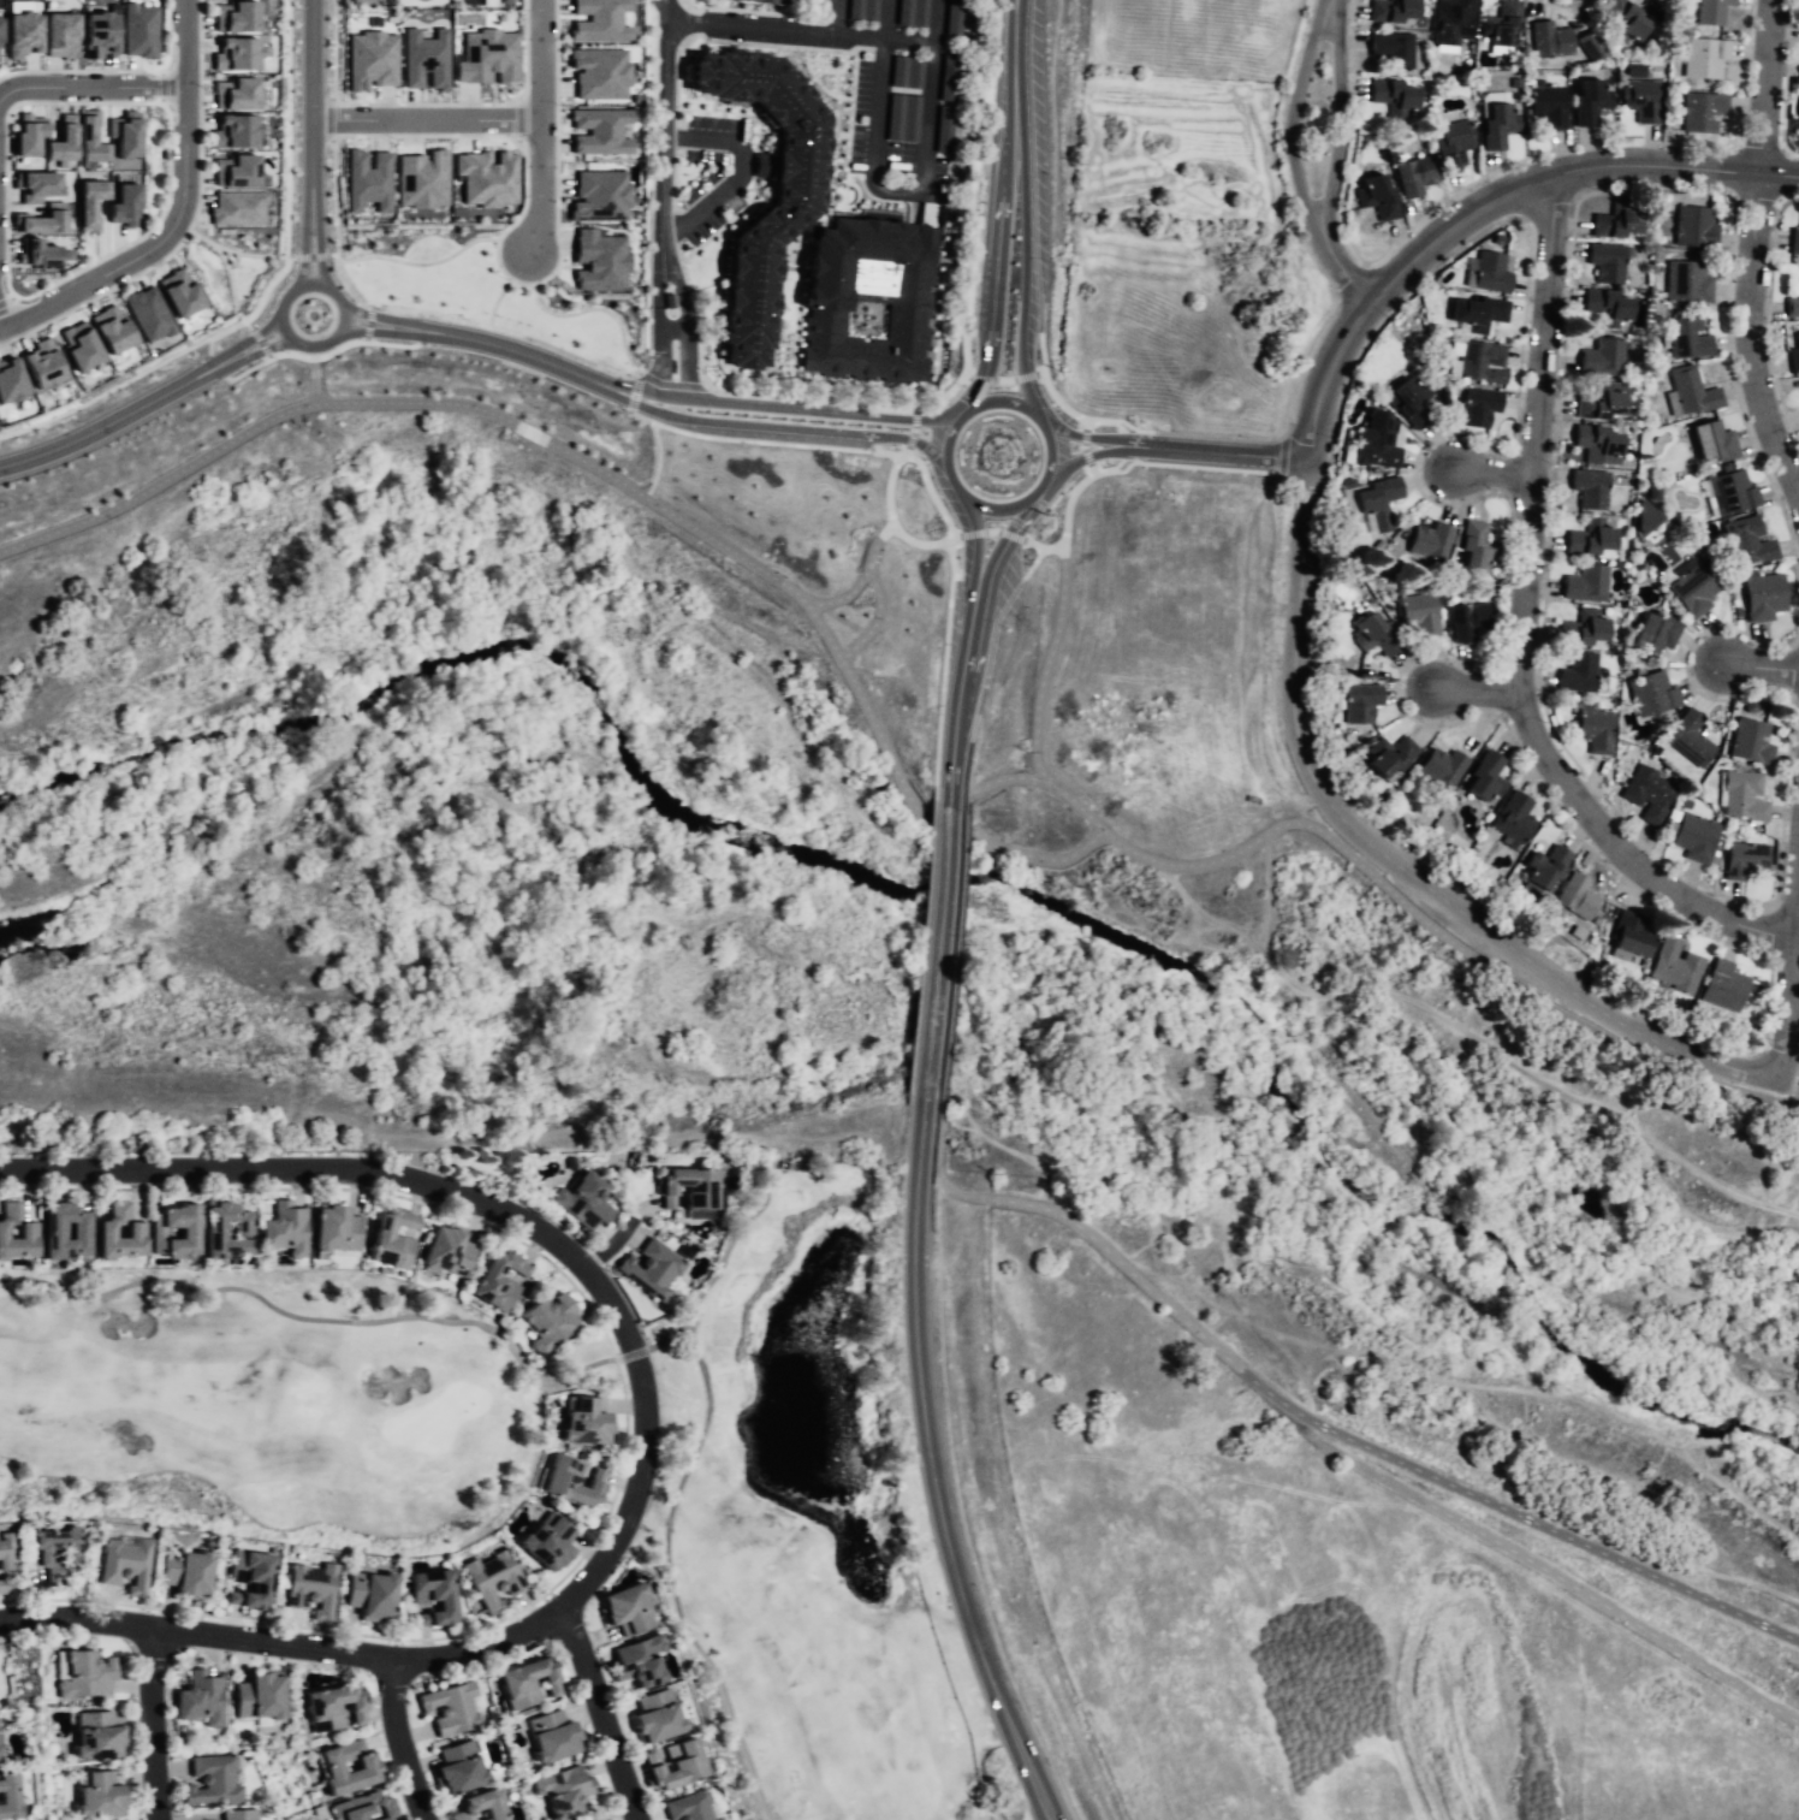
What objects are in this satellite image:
building: (766, 1)
building: (859, 10)
building: (1389, 11)
building: (1709, 11)
building: (912, 12)
building: (234, 16)
building: (952, 17)
road: (830, 18)
building: (600, 20)
building: (1449, 22)
building: (1626, 22)
road: (682, 24)
building: (1500, 28)
road: (748, 29)
building: (138, 30)
building: (22, 34)
building: (60, 34)
building: (99, 34)
road: (168, 40)
road: (902, 40)
building: (1546, 42)
building: (1589, 45)
road: (333, 49)
road: (524, 49)
building: (1389, 49)
building: (237, 54)
road: (1014, 54)
building: (487, 57)
building: (424, 58)
building: (370, 59)
building: (1702, 59)
road: (78, 70)
building: (599, 72)
building: (904, 72)
building: (946, 78)
road: (160, 87)
road: (90, 88)
parking lot: (902, 91)
building: (236, 93)
building: (1388, 95)
building: (1583, 99)
building: (1639, 100)
road: (423, 103)
building: (1545, 103)
building: (1698, 111)
building: (1795, 111)
road: (313, 113)
road: (1288, 115)
road: (1336, 117)
road: (329, 119)
road: (426, 119)
road: (517, 119)
building: (900, 119)
building: (1495, 125)
road: (5, 126)
road: (540, 128)
road: (287, 129)
road: (664, 129)
building: (234, 130)
building: (600, 130)
building: (942, 131)
building: (29, 134)
building: (125, 134)
road: (426, 135)
building: (90, 138)
building: (1450, 142)
building: (61, 143)
road: (675, 152)
road: (1004, 153)
road: (881, 164)
road: (753, 165)
road: (735, 168)
building: (234, 171)
parking lot: (713, 171)
road: (1561, 173)
building: (486, 177)
building: (1412, 177)
building: (368, 179)
building: (422, 179)
building: (36, 184)
road: (1022, 190)
building: (599, 195)
building: (1375, 198)
building: (90, 202)
building: (124, 203)
building: (237, 208)
building: (788, 208)
road: (178, 214)
building: (1614, 219)
building: (41, 220)
road: (189, 225)
building: (1691, 226)
road: (141, 235)
road: (557, 237)
road: (336, 242)
building: (1793, 243)
building: (37, 253)
road: (244, 254)
road: (331, 254)
road: (281, 256)
road: (305, 256)
road: (311, 256)
road: (317, 256)
road: (995, 256)
road: (291, 257)
road: (1758, 257)
building: (599, 260)
road: (225, 261)
road: (418, 262)
building: (1603, 263)
building: (1496, 271)
road: (673, 275)
road: (657, 281)
building: (1684, 284)
road: (290, 291)
building: (179, 292)
road: (5, 301)
road: (494, 301)
building: (820, 301)
road: (1037, 301)
road: (257, 306)
road: (370, 308)
road: (594, 308)
building: (1605, 308)
building: (1792, 308)
building: (148, 313)
road: (239, 315)
road: (372, 315)
building: (1480, 315)
road: (417, 320)
road: (368, 324)
road: (247, 326)
road: (671, 326)
road: (976, 326)
building: (112, 328)
road: (370, 328)
road: (418, 330)
road: (519, 334)
road: (256, 337)
road: (366, 339)
road: (423, 339)
road: (1346, 339)
building: (1684, 339)
road: (260, 342)
road: (687, 344)
road: (1021, 344)
building: (79, 345)
road: (260, 348)
road: (655, 349)
road: (208, 355)
building: (1793, 355)
road: (317, 356)
road: (268, 357)
road: (535, 358)
building: (1602, 358)
building: (1482, 360)
road: (985, 362)
building: (43, 363)
road: (1039, 373)
road: (967, 374)
road: (216, 375)
road: (315, 375)
building: (11, 379)
road: (1003, 379)
road: (670, 383)
road: (948, 391)
road: (633, 392)
building: (1687, 392)
road: (742, 393)
road: (1052, 396)
building: (1407, 399)
road: (1002, 401)
road: (748, 404)
building: (1483, 408)
building: (1596, 408)
road: (477, 409)
road: (872, 410)
road: (915, 417)
road: (118, 419)
road: (1085, 425)
road: (747, 427)
road: (913, 431)
road: (1126, 432)
road: (1533, 432)
road: (1195, 434)
road: (1085, 435)
road: (753, 440)
road: (910, 440)
building: (1377, 443)
building: (1708, 443)
road: (875, 444)
road: (1050, 444)
road: (1082, 446)
building: (1593, 447)
road: (1091, 453)
road: (1223, 453)
road: (945, 456)
road: (1124, 457)
road: (1282, 457)
road: (657, 460)
road: (1090, 467)
road: (1194, 467)
road: (1492, 480)
road: (1043, 488)
building: (1586, 490)
road: (932, 496)
building: (1729, 496)
road: (1071, 497)
building: (1373, 502)
road: (1003, 508)
building: (1644, 518)
road: (891, 527)
road: (990, 530)
road: (1004, 535)
road: (975, 539)
building: (1586, 539)
building: (1427, 540)
building: (1746, 545)
building: (1470, 546)
road: (1039, 547)
building: (1583, 585)
building: (1691, 591)
road: (1008, 595)
building: (1758, 600)
road: (975, 606)
building: (1418, 616)
road: (955, 618)
building: (1472, 618)
road: (872, 622)
building: (1585, 633)
building: (1650, 633)
building: (1371, 636)
road: (967, 654)
road: (1753, 672)
building: (1574, 675)
road: (942, 676)
road: (1479, 686)
building: (1647, 693)
building: (1356, 701)
road: (865, 706)
road: (954, 721)
building: (1590, 728)
building: (1686, 739)
building: (1748, 740)
building: (1385, 754)
building: (1437, 765)
building: (1482, 775)
road: (1005, 778)
building: (1644, 793)
building: (1739, 794)
building: (1510, 818)
road: (1320, 832)
building: (1691, 836)
road: (1622, 848)
road: (1010, 850)
building: (1741, 859)
road: (1395, 866)
building: (1540, 866)
building: (1575, 897)
road: (1203, 917)
building: (1628, 936)
building: (1673, 967)
road: (1791, 979)
road: (932, 980)
road: (952, 983)
building: (1722, 984)
road: (1490, 1038)
building: (683, 1187)
building: (581, 1202)
building: (212, 1226)
building: (49, 1228)
building: (332, 1228)
building: (101, 1229)
building: (283, 1229)
building: (185, 1231)
building: (13, 1234)
building: (390, 1239)
road: (607, 1243)
building: (444, 1251)
road: (720, 1261)
park: (1331, 1267)
building: (652, 1269)
building: (493, 1280)
road: (279, 1306)
building: (542, 1321)
park: (463, 1358)
road: (1480, 1386)
building: (578, 1419)
road: (643, 1423)
road: (1344, 1435)
building: (572, 1481)
road: (673, 1499)
road: (939, 1512)
road: (313, 1531)
road: (1637, 1535)
building: (545, 1540)
building: (48, 1547)
building: (1, 1557)
building: (126, 1563)
building: (183, 1571)
building: (245, 1579)
building: (489, 1579)
building: (2, 1583)
building: (310, 1589)
building: (368, 1593)
building: (429, 1596)
building: (621, 1607)
building: (636, 1662)
building: (84, 1674)
building: (524, 1684)
building: (256, 1697)
building: (198, 1699)
building: (333, 1706)
building: (447, 1707)
road: (598, 1712)
building: (657, 1714)
road: (153, 1725)
building: (94, 1733)
building: (552, 1737)
road: (399, 1742)
building: (327, 1765)
building: (672, 1766)
building: (455, 1769)
building: (209, 1782)
building: (562, 1791)
building: (5, 1795)
building: (93, 1795)
building: (366, 1807)
building: (481, 1807)
building: (689, 1808)
building: (237, 1814)

